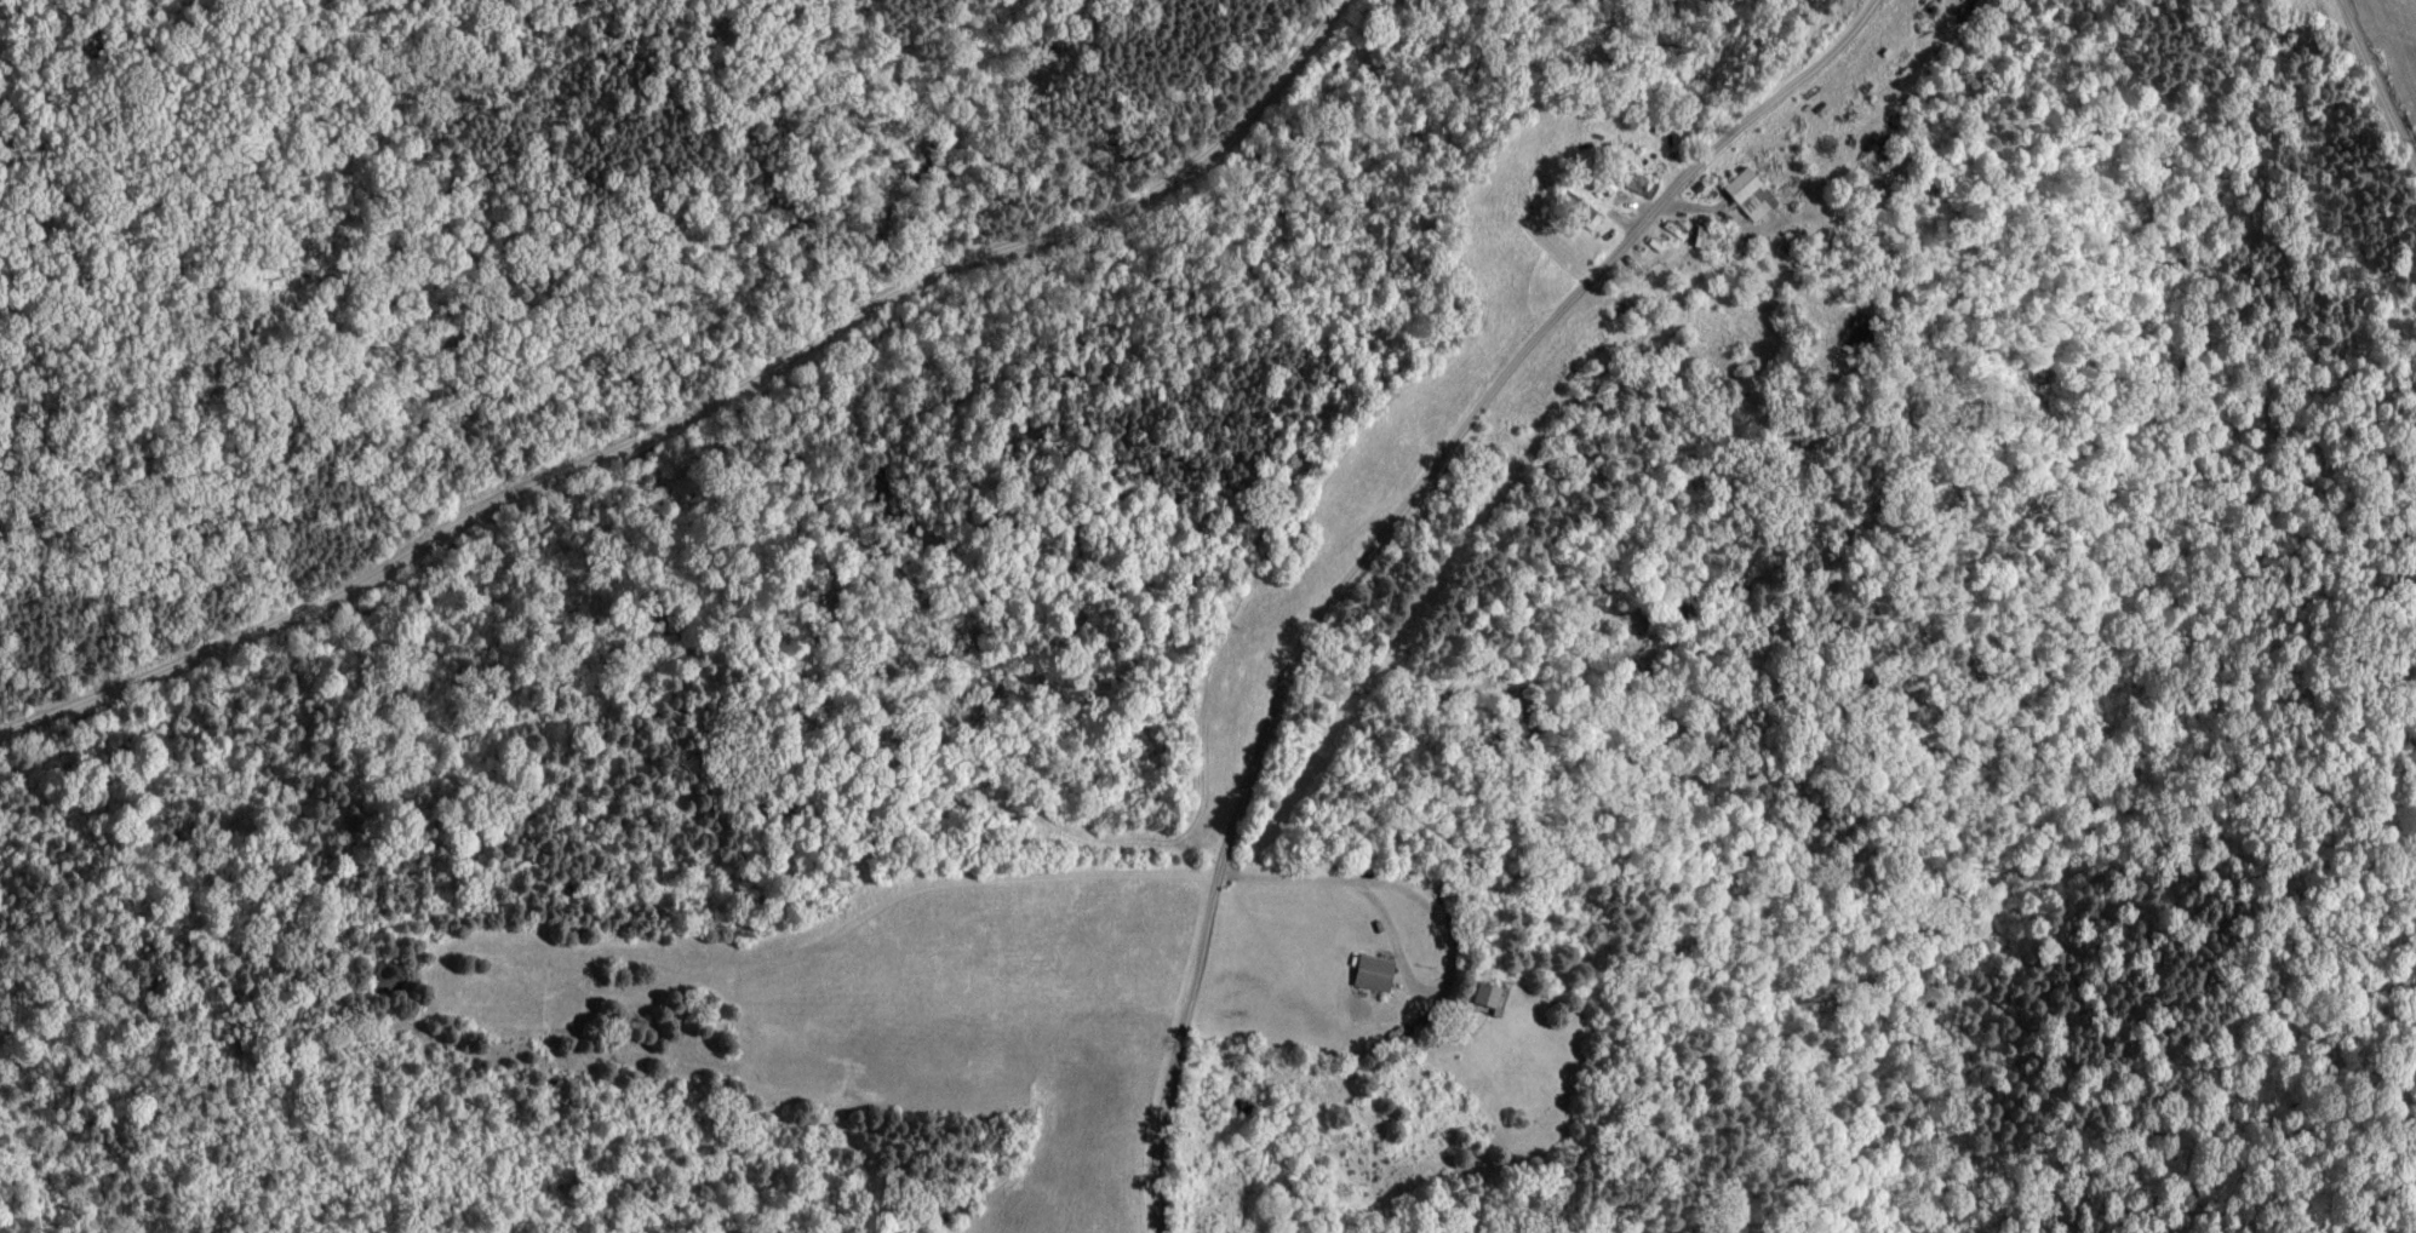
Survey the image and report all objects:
road: (2376, 82)
building: (1752, 195)
building: (1705, 239)
road: (686, 415)
road: (1384, 551)
road: (1336, 860)
building: (1375, 974)
building: (1487, 994)

